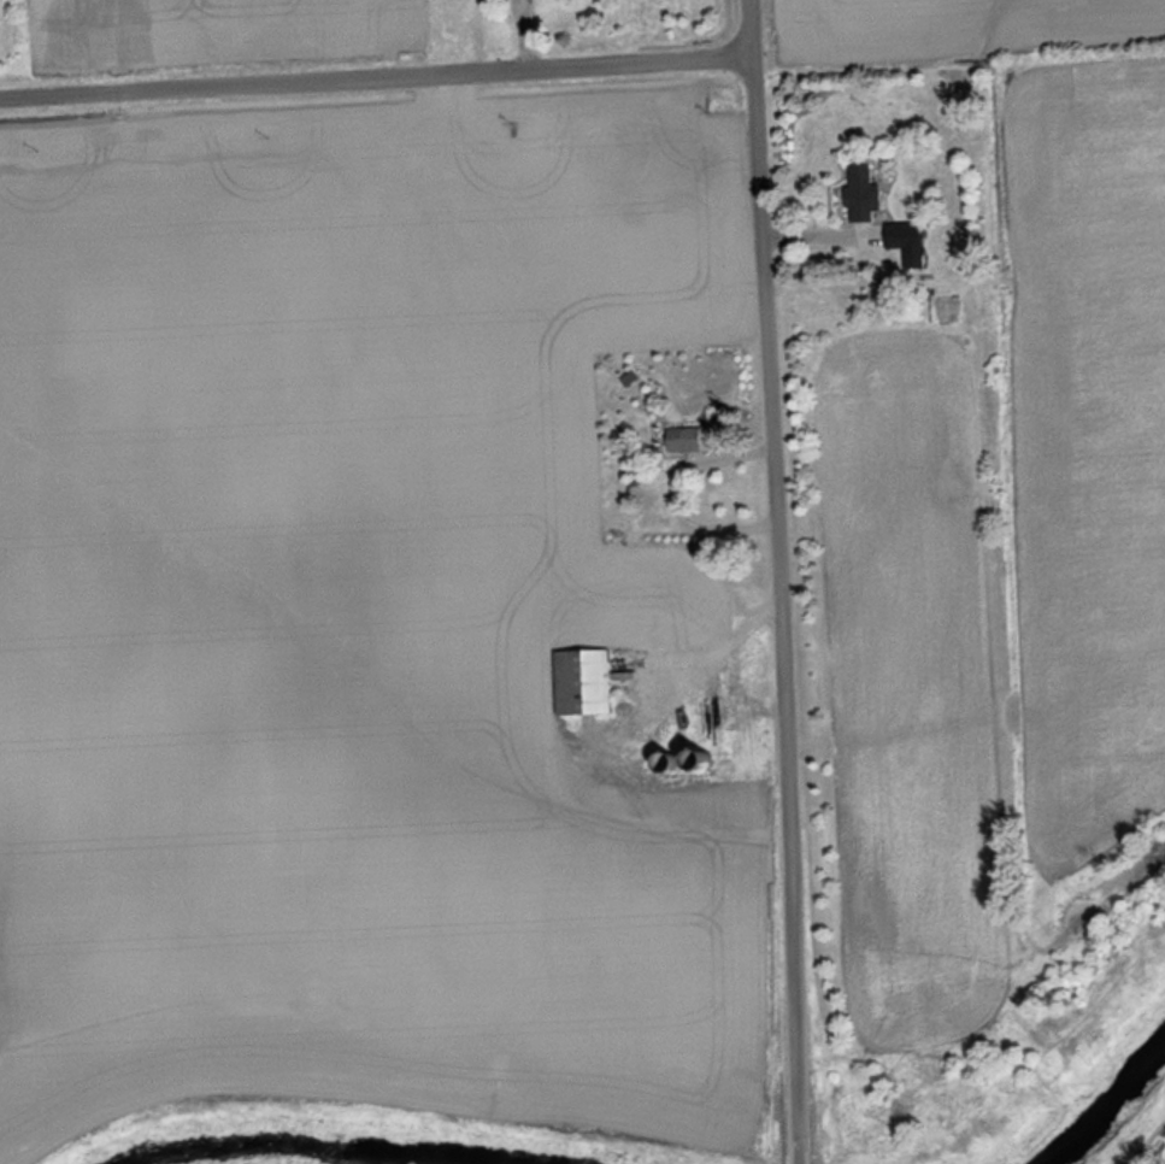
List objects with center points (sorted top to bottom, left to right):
building: (453, 0)
building: (345, 10)
road: (376, 76)
building: (864, 192)
building: (910, 243)
building: (693, 441)
road: (775, 582)
building: (588, 683)

